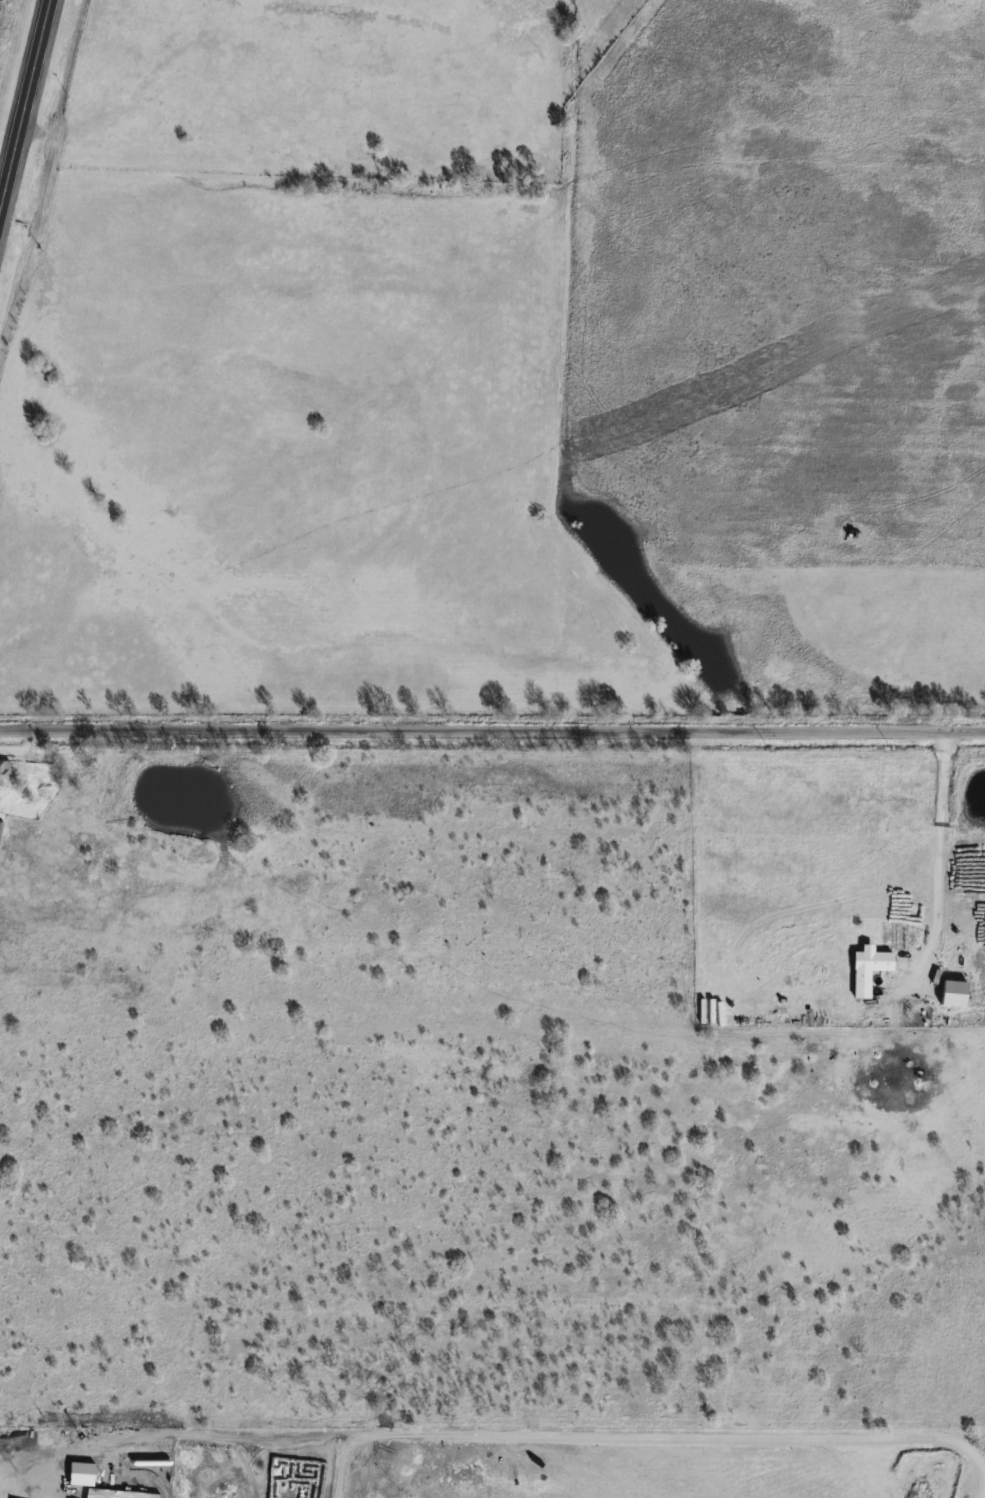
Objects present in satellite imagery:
road: (25, 108)
road: (492, 730)
building: (6, 770)
building: (93, 772)
road: (936, 845)
building: (874, 963)
building: (957, 992)

